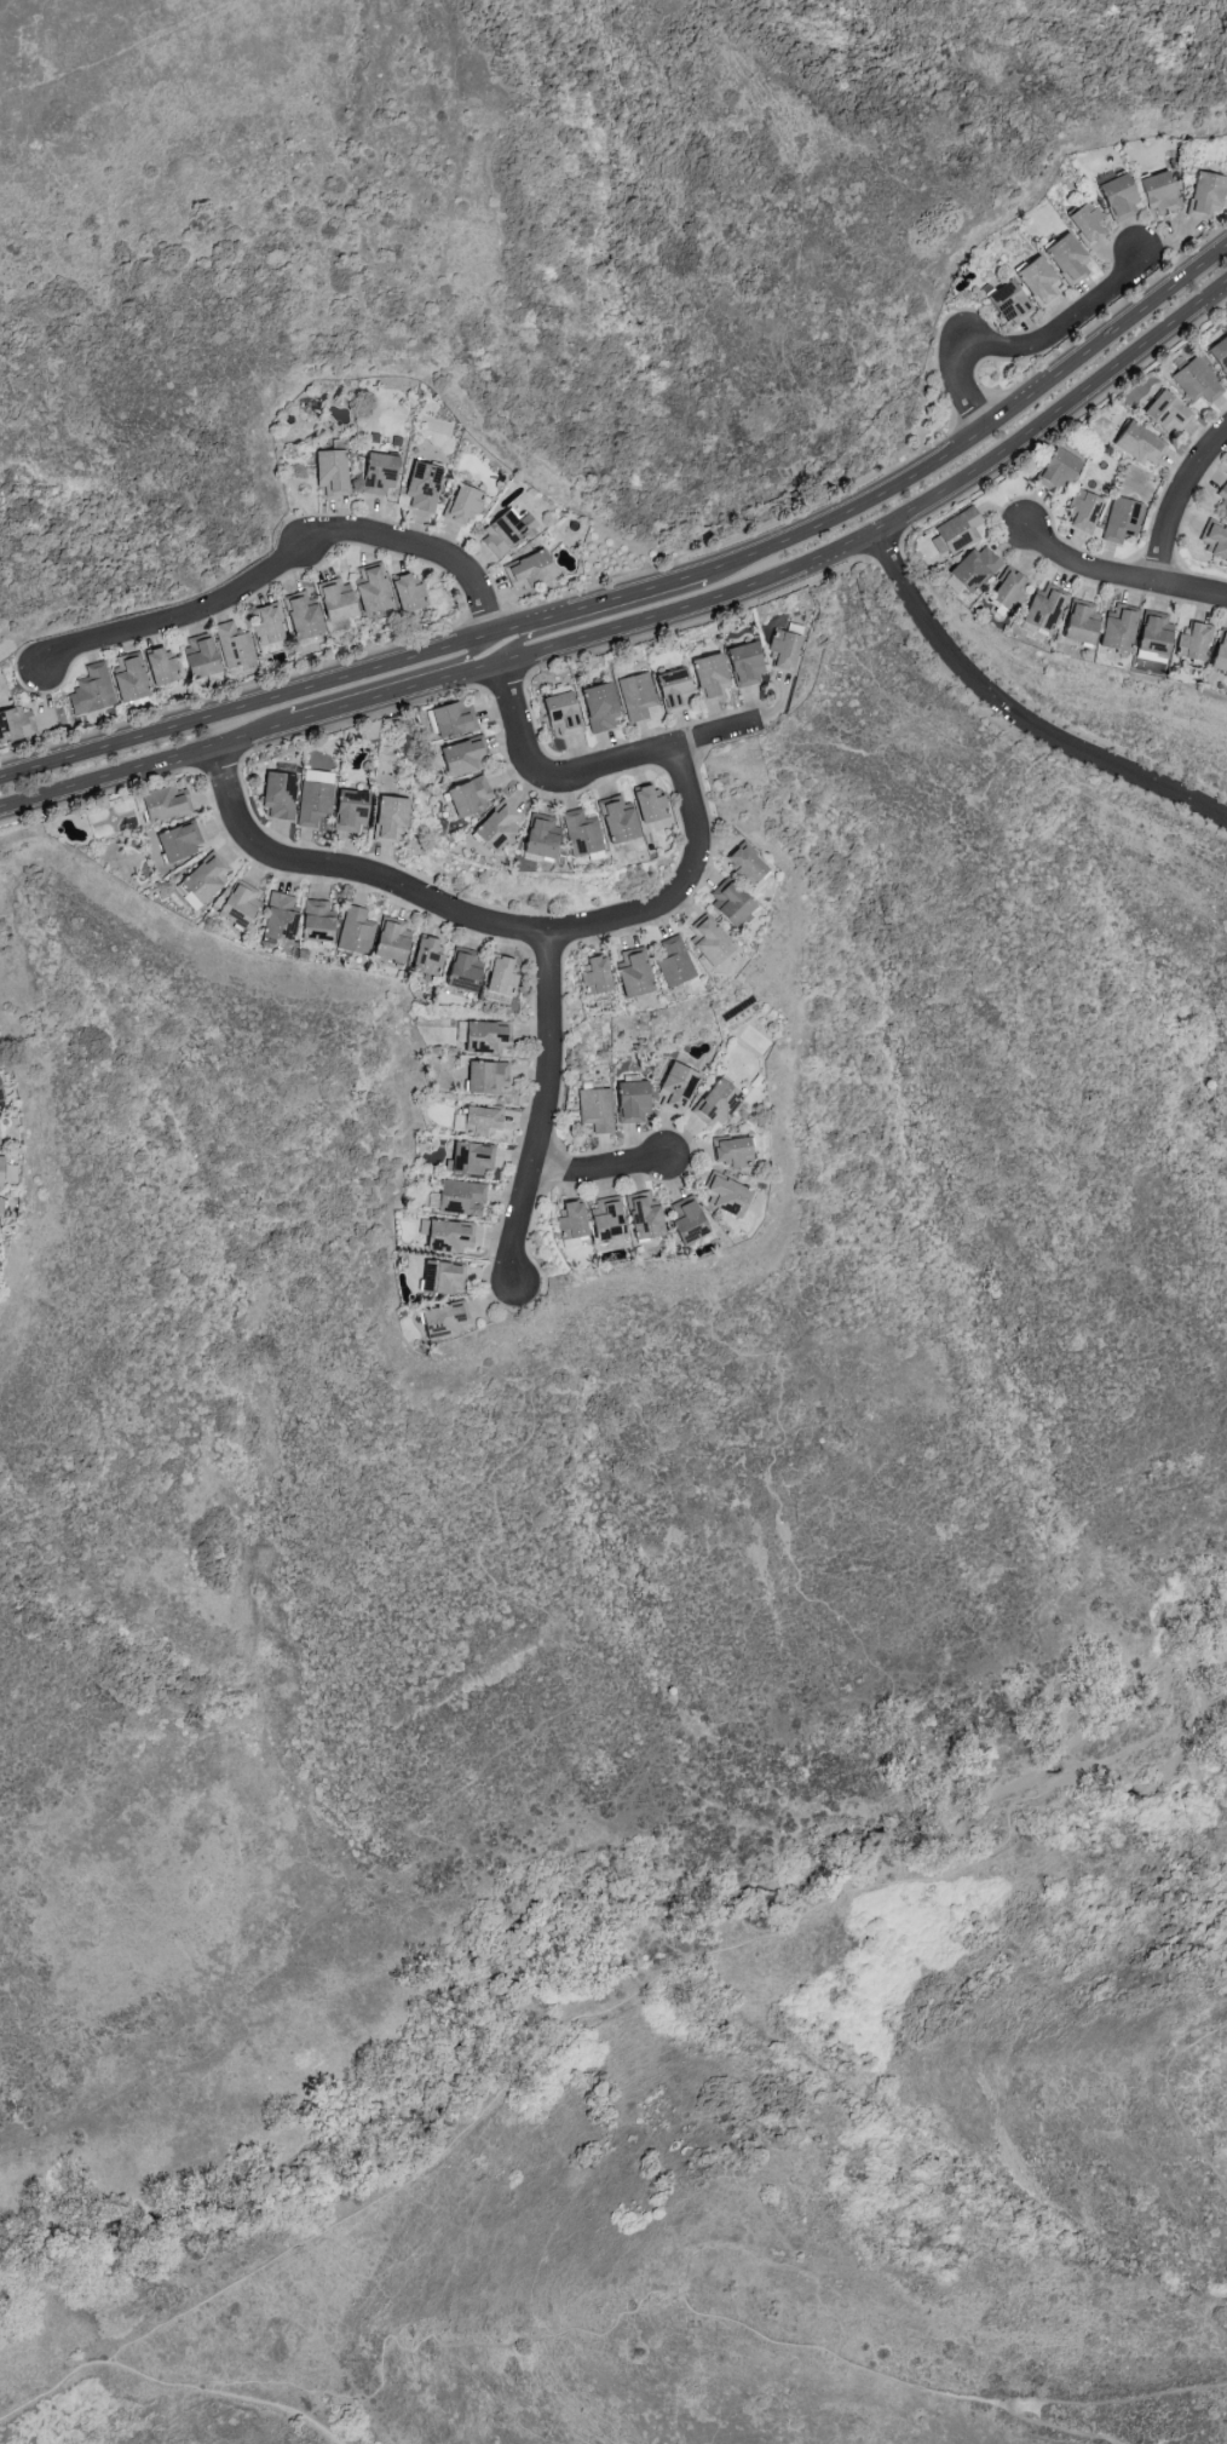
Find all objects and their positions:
building: (1153, 191)
building: (1113, 196)
building: (1083, 223)
building: (1062, 258)
building: (1033, 281)
building: (1003, 303)
road: (1026, 345)
building: (1217, 353)
building: (1193, 380)
building: (1162, 412)
road: (975, 426)
building: (1131, 442)
building: (1050, 467)
building: (336, 470)
building: (385, 471)
building: (427, 485)
building: (1222, 495)
building: (466, 502)
road: (1180, 502)
building: (1078, 512)
building: (1119, 518)
building: (512, 530)
building: (952, 530)
road: (864, 534)
building: (1212, 540)
road: (284, 562)
building: (968, 568)
building: (534, 569)
road: (1121, 576)
building: (378, 587)
road: (622, 591)
building: (414, 592)
building: (1003, 592)
building: (342, 598)
building: (1038, 608)
building: (309, 613)
building: (1076, 620)
building: (272, 625)
building: (1112, 628)
building: (1148, 632)
road: (522, 638)
building: (1189, 640)
building: (223, 648)
building: (782, 651)
building: (1217, 652)
road: (471, 656)
building: (749, 662)
building: (166, 665)
building: (715, 674)
building: (134, 675)
building: (678, 689)
building: (94, 691)
road: (272, 695)
building: (638, 695)
road: (369, 701)
building: (603, 705)
building: (565, 711)
road: (1015, 715)
building: (454, 719)
road: (518, 723)
building: (18, 724)
road: (662, 749)
building: (470, 754)
road: (145, 765)
building: (282, 795)
building: (316, 795)
building: (473, 797)
building: (171, 803)
building: (653, 804)
building: (355, 807)
building: (393, 818)
building: (622, 818)
building: (502, 824)
building: (583, 832)
building: (547, 838)
building: (184, 840)
building: (751, 863)
building: (209, 876)
building: (190, 895)
building: (736, 901)
building: (244, 903)
building: (283, 916)
road: (489, 921)
building: (340, 925)
building: (396, 939)
building: (715, 939)
building: (430, 954)
building: (675, 961)
building: (638, 971)
building: (502, 972)
building: (600, 973)
building: (490, 1035)
building: (490, 1075)
building: (2, 1087)
building: (681, 1087)
building: (636, 1100)
building: (720, 1102)
building: (598, 1108)
road: (547, 1109)
building: (480, 1119)
building: (1, 1132)
building: (737, 1149)
building: (474, 1156)
road: (600, 1168)
building: (4, 1169)
building: (731, 1194)
building: (462, 1196)
building: (5, 1211)
building: (649, 1215)
building: (612, 1217)
building: (693, 1218)
building: (577, 1221)
building: (449, 1235)
building: (445, 1277)
building: (450, 1319)
road: (597, 2013)
road: (1173, 2098)
road: (466, 2344)
road: (836, 2360)
road: (224, 2391)
road: (1061, 2403)

